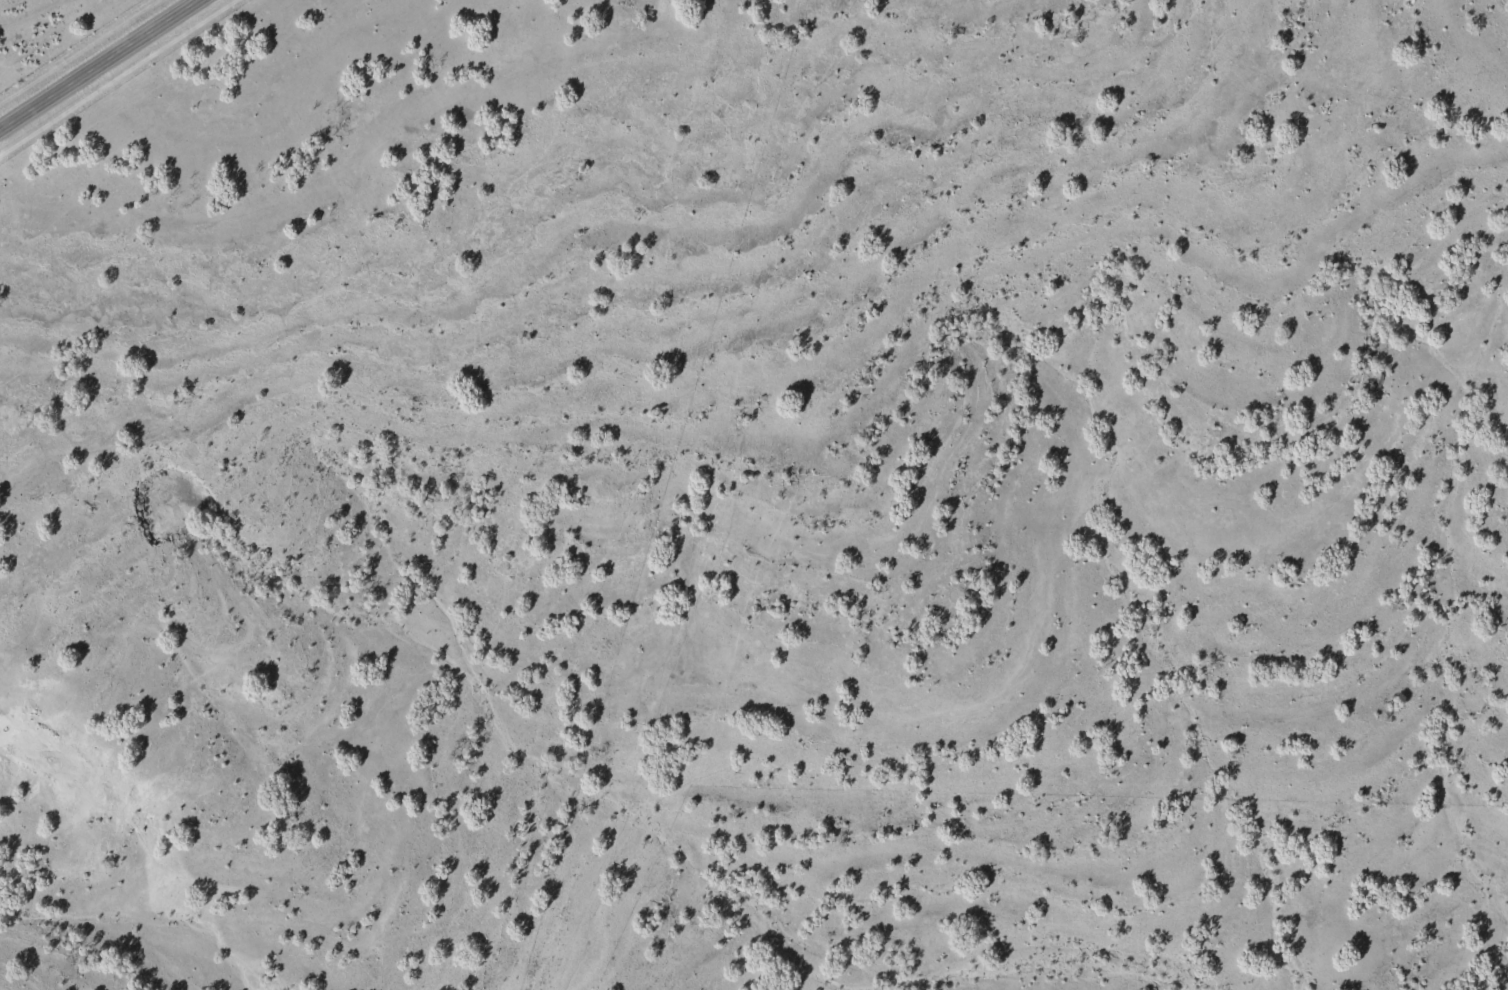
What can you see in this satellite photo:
road: (106, 70)

